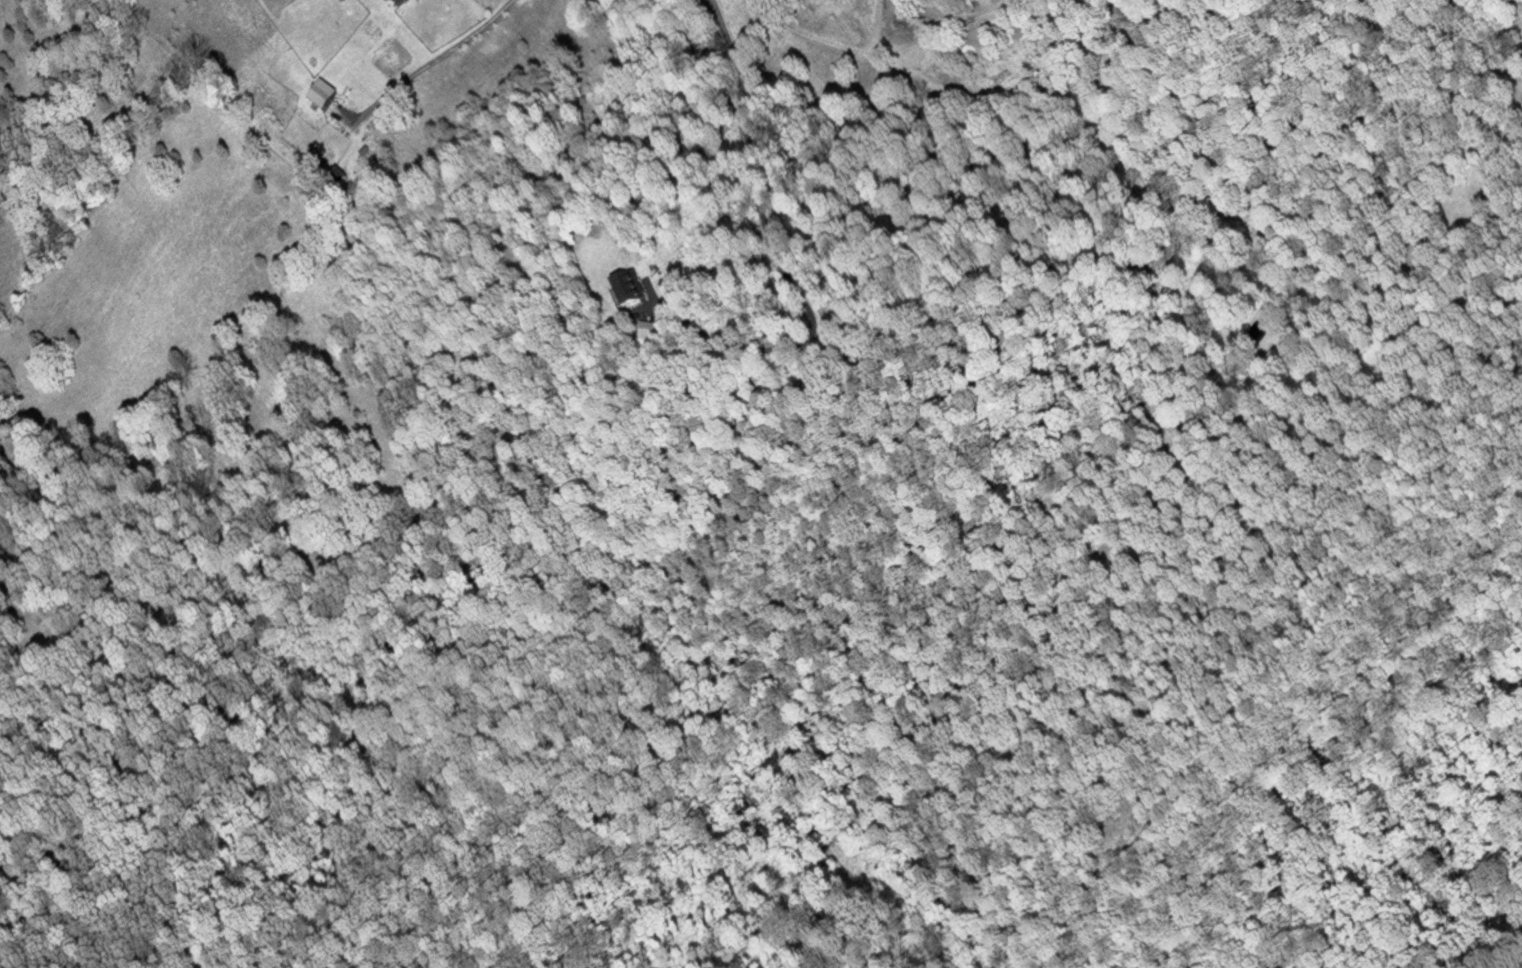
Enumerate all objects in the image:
road: (435, 55)
building: (328, 92)
road: (769, 239)
building: (630, 292)

